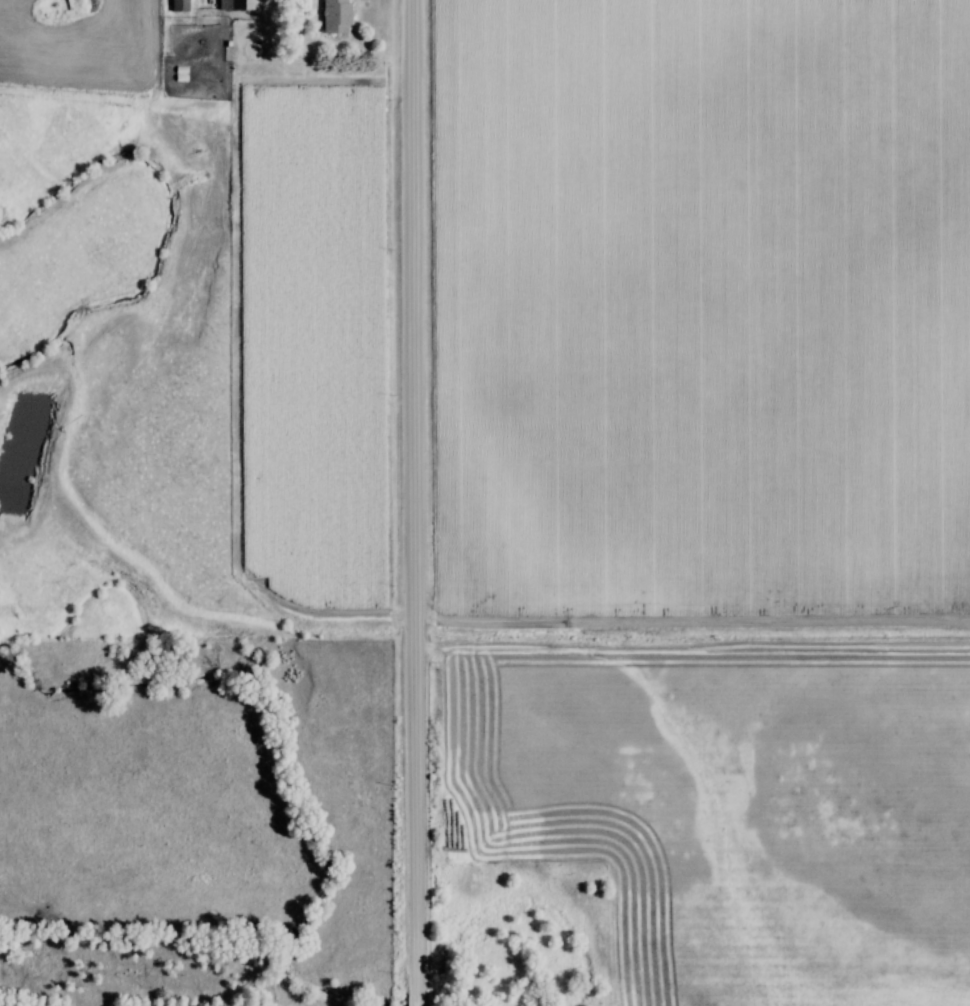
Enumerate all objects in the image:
building: (172, 7)
building: (226, 8)
building: (337, 16)
crop: (698, 309)
crop: (304, 346)
road: (406, 503)

